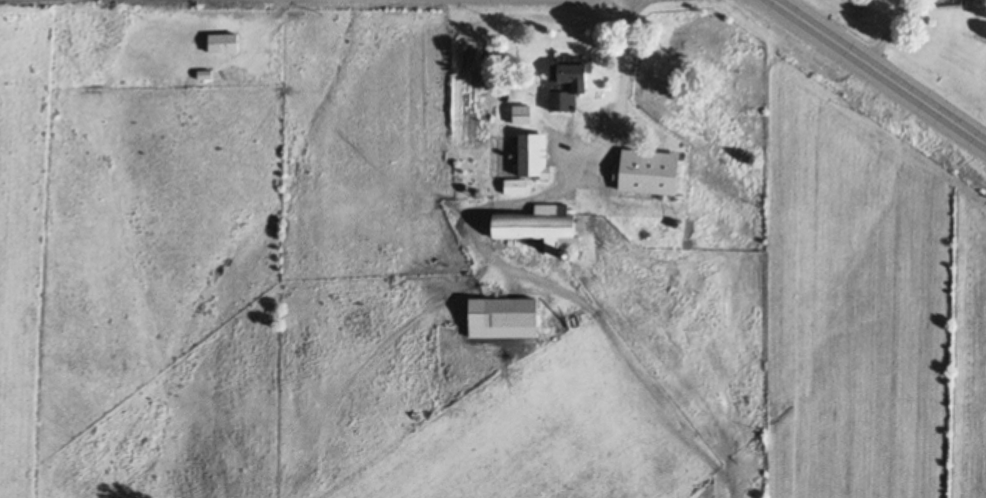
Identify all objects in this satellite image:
building: (956, 0)
building: (224, 44)
building: (658, 60)
road: (878, 71)
building: (570, 84)
building: (523, 115)
building: (531, 163)
building: (617, 176)
building: (542, 228)
building: (513, 314)

